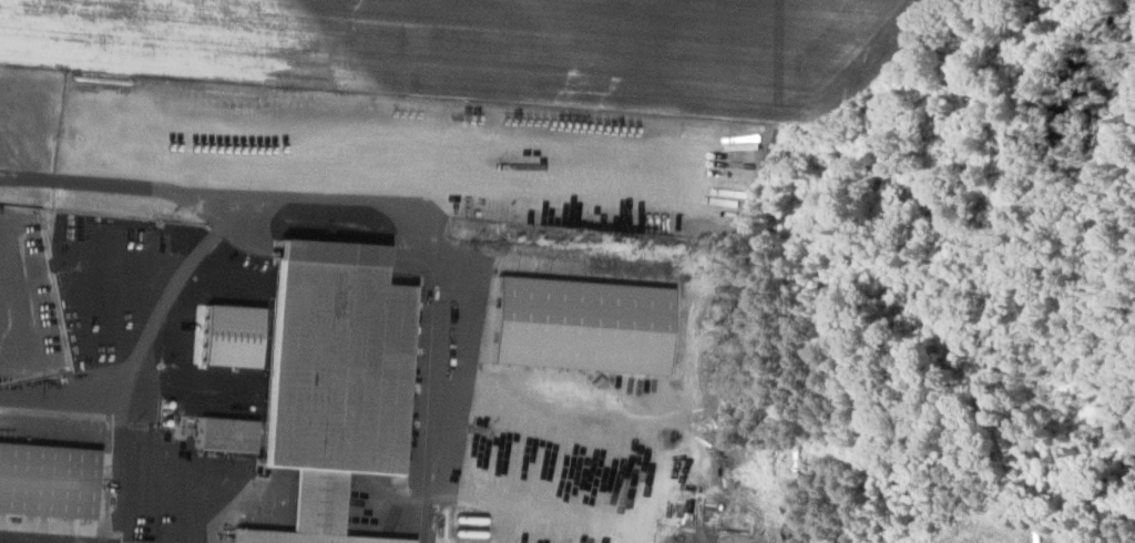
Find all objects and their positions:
building: (330, 381)
building: (224, 433)
building: (45, 479)

